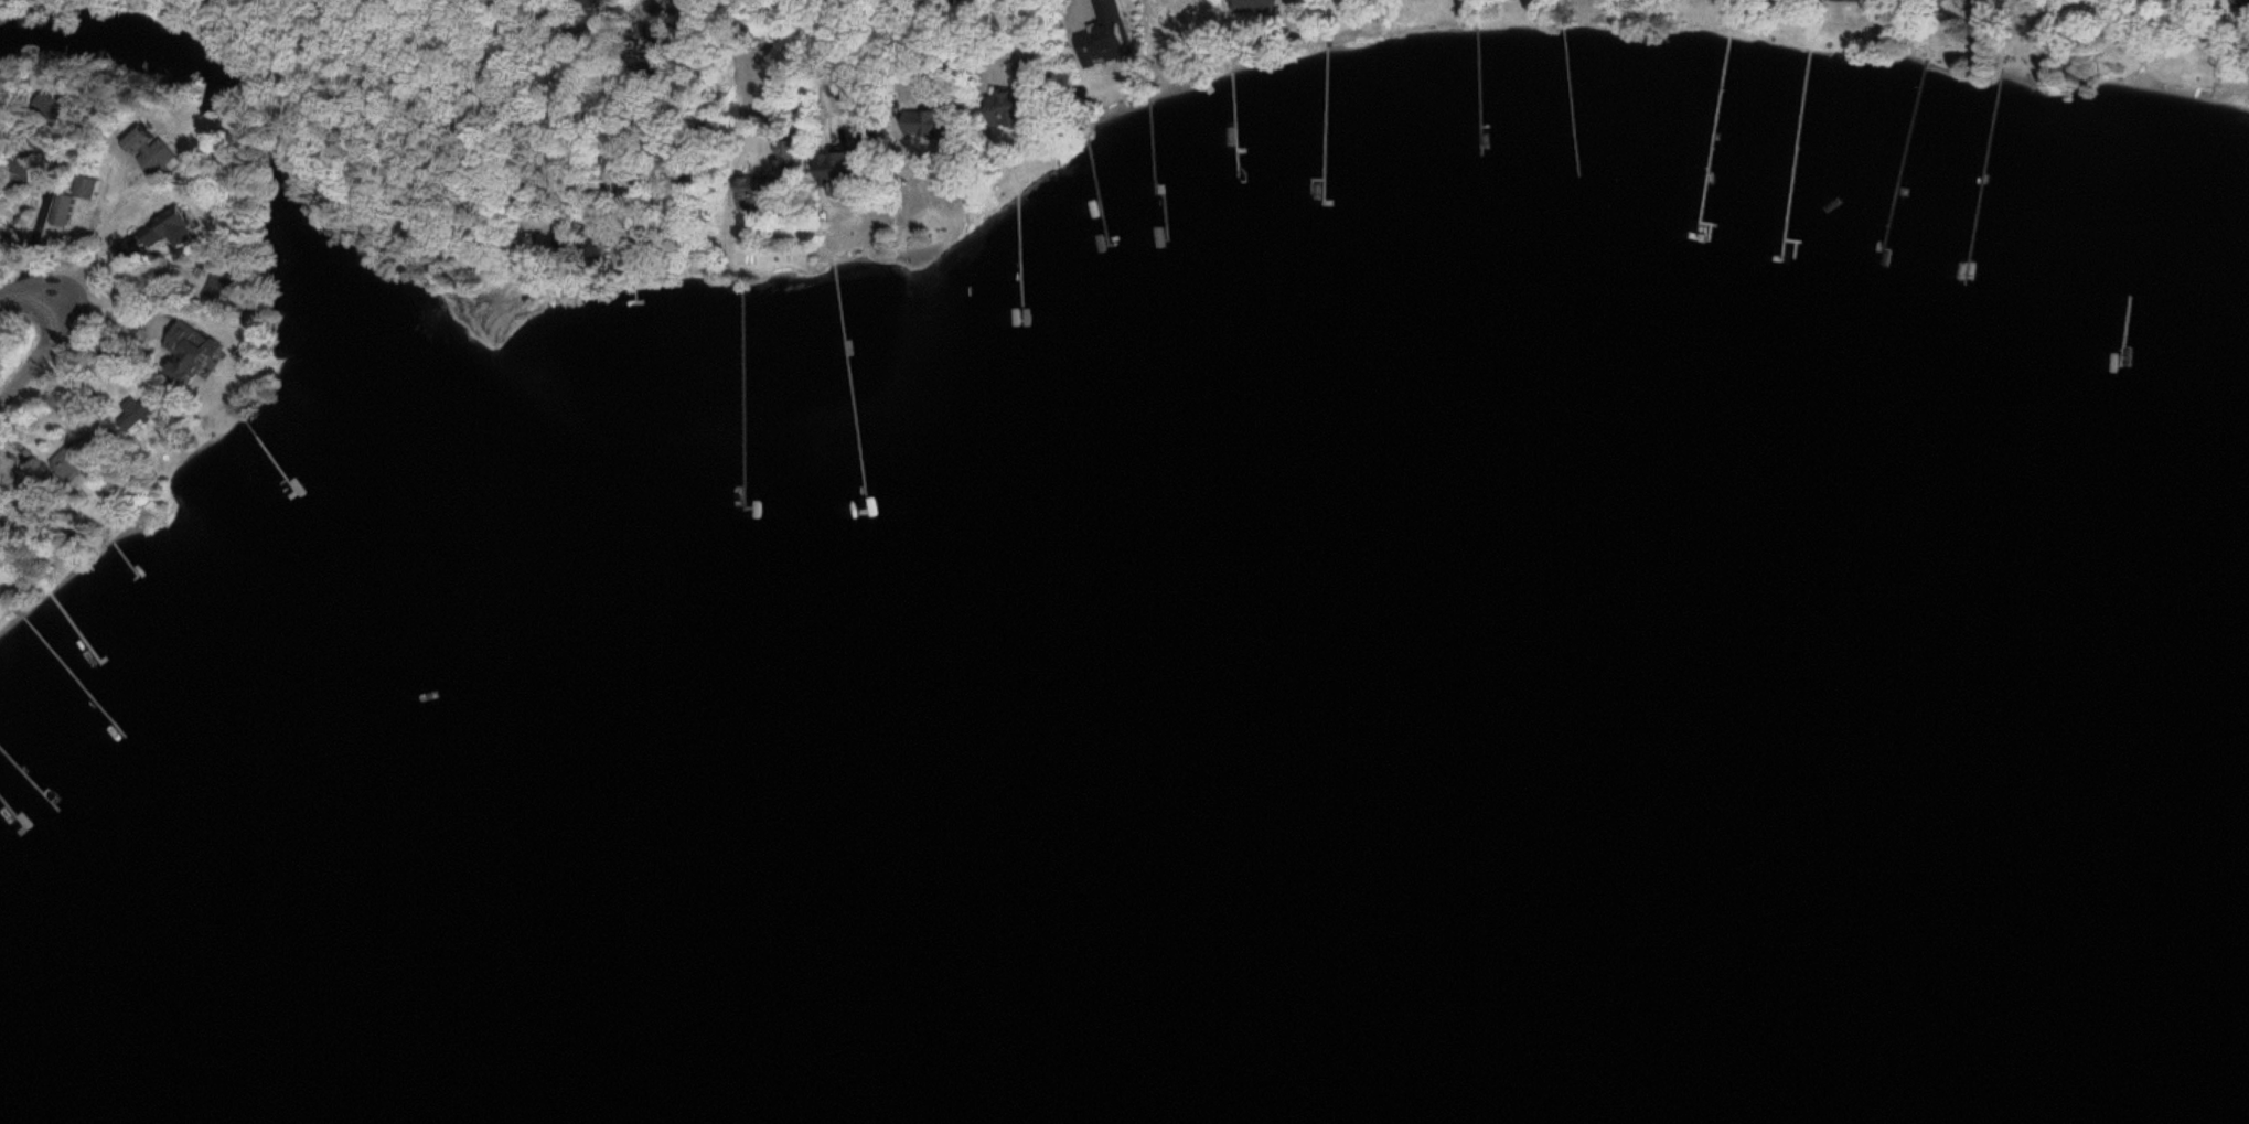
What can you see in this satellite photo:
building: (1846, 2)
building: (2240, 7)
road: (786, 22)
river: (178, 58)
road: (393, 95)
building: (1009, 118)
building: (83, 190)
road: (58, 323)
river: (443, 660)

